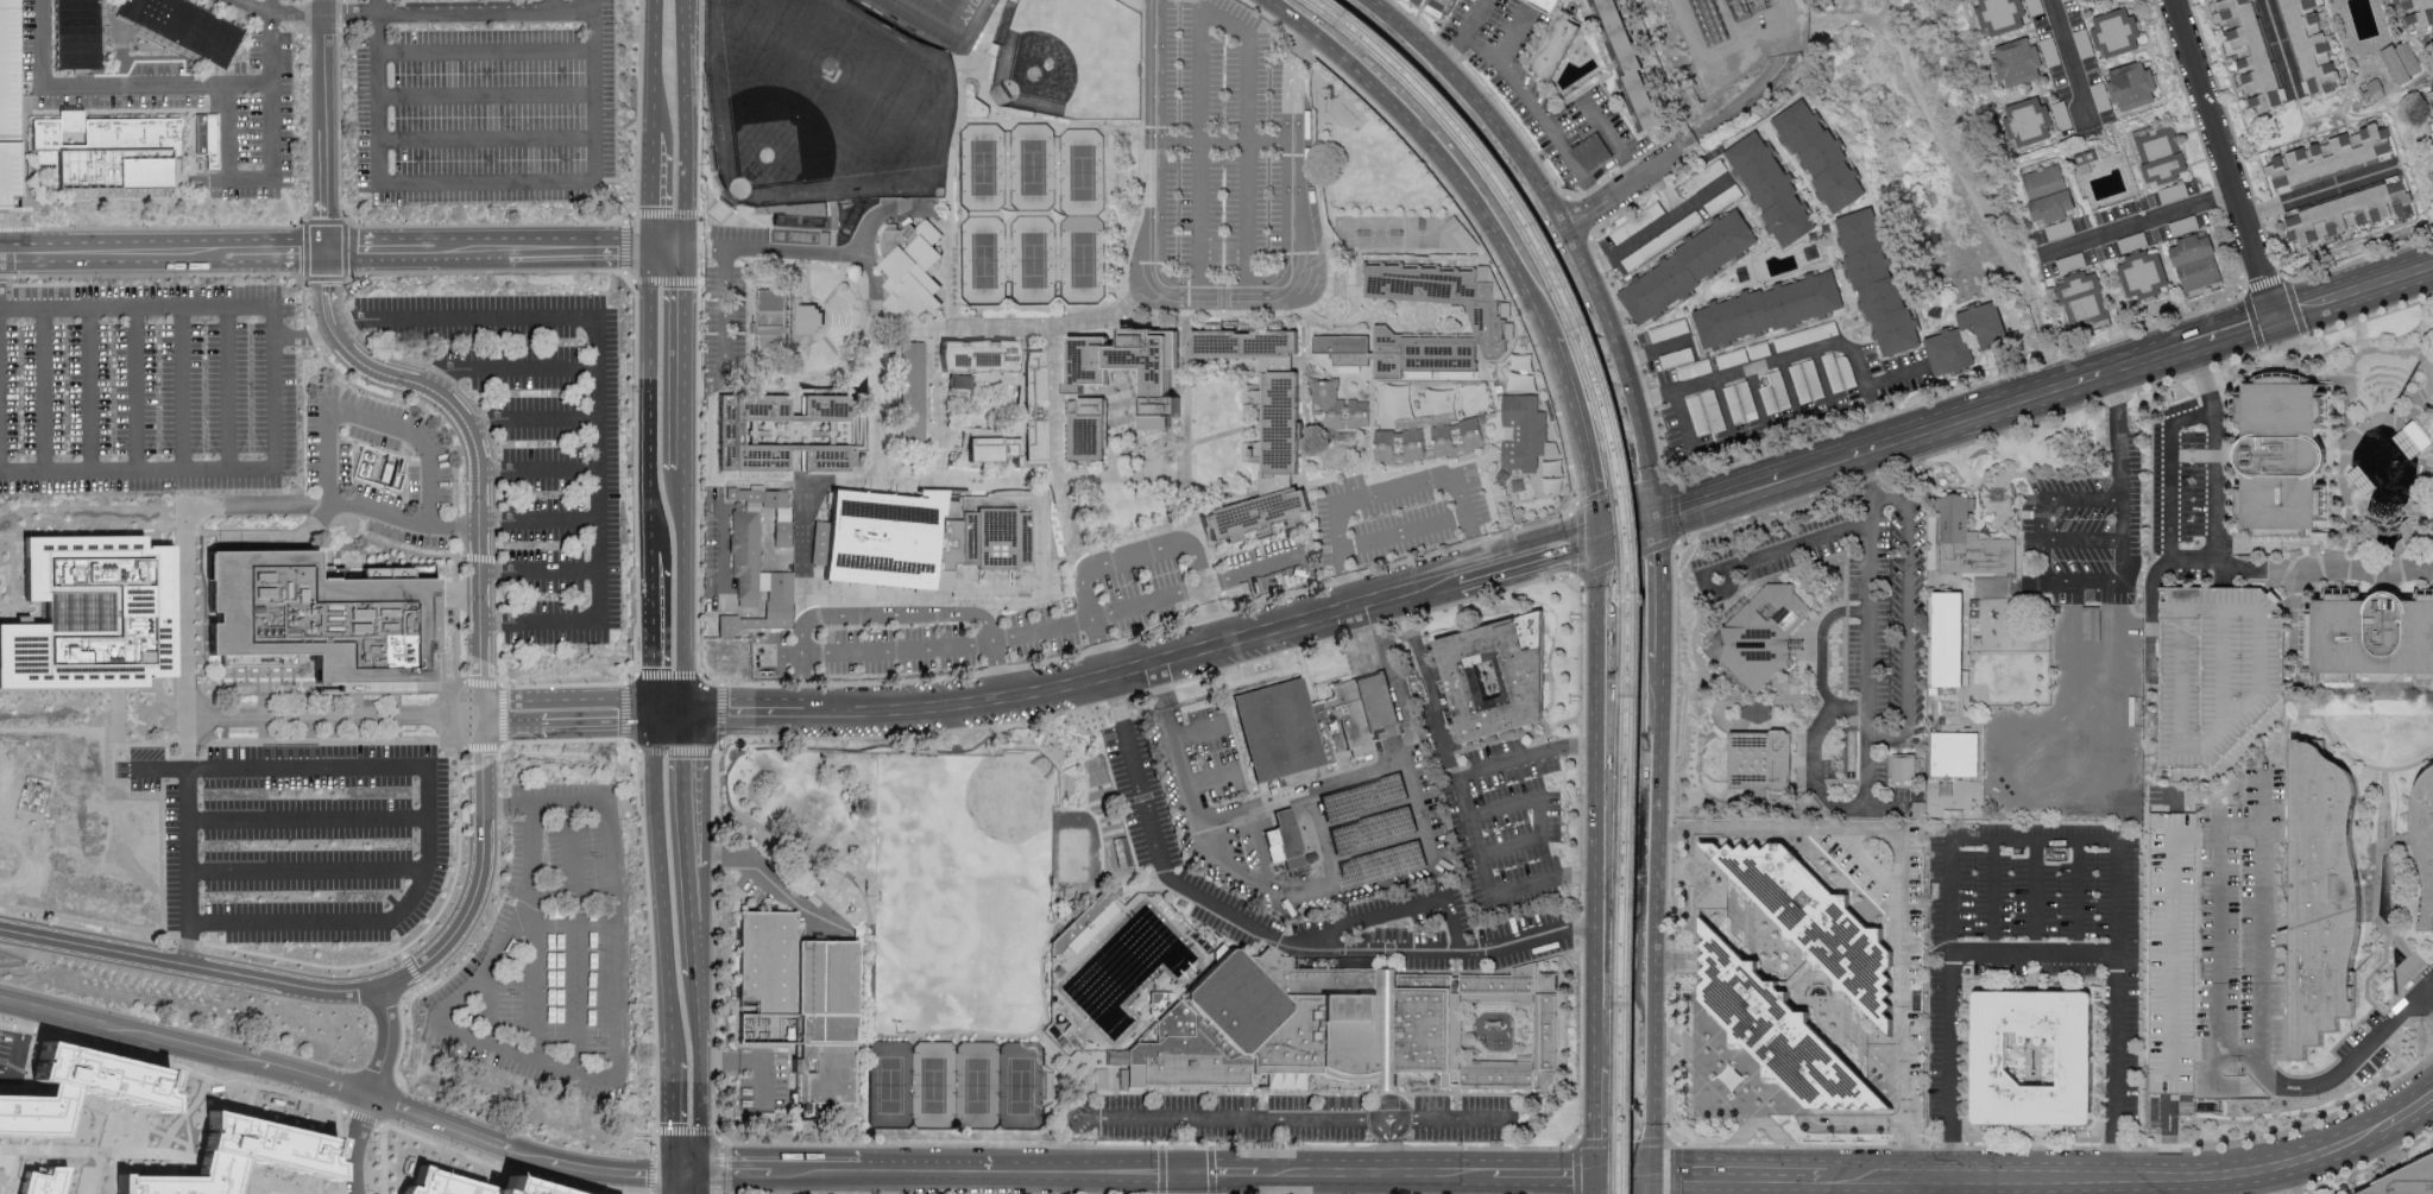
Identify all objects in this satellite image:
building: (1416, 0)
building: (1588, 0)
building: (2084, 0)
building: (2092, 1)
road: (550, 5)
road: (593, 5)
building: (1552, 5)
road: (272, 6)
road: (322, 6)
road: (377, 6)
building: (1441, 7)
road: (471, 11)
road: (572, 11)
road: (284, 12)
road: (349, 12)
road: (384, 12)
building: (2418, 13)
road: (1887, 14)
road: (341, 15)
park: (944, 15)
building: (2002, 18)
road: (377, 20)
road: (1477, 20)
building: (185, 25)
road: (309, 26)
building: (77, 33)
power substation: (1736, 36)
building: (2116, 36)
road: (1511, 42)
road: (43, 43)
building: (1557, 44)
building: (2311, 44)
road: (2281, 45)
road: (485, 51)
building: (2254, 52)
building: (1835, 53)
power substation: (1838, 53)
road: (2070, 61)
park: (1071, 62)
building: (1633, 63)
building: (2401, 65)
building: (2018, 67)
road: (655, 68)
park: (831, 76)
road: (159, 84)
building: (2132, 88)
road: (485, 94)
building: (2371, 94)
building: (2431, 95)
road: (2204, 96)
road: (1530, 99)
parking lot: (196, 100)
building: (6, 101)
parking lot: (6, 101)
parking lot: (486, 102)
road: (1475, 103)
road: (1738, 108)
road: (275, 119)
road: (687, 122)
building: (2027, 124)
road: (324, 129)
road: (227, 132)
building: (207, 135)
park: (777, 137)
road: (486, 138)
road: (1249, 139)
road: (1227, 143)
road: (1614, 144)
building: (109, 147)
parking lot: (1222, 149)
road: (1200, 152)
road: (1947, 152)
building: (1832, 157)
building: (2162, 159)
building: (2331, 159)
park: (1032, 168)
park: (983, 172)
park: (1082, 173)
road: (494, 182)
road: (1624, 189)
road: (654, 190)
building: (1775, 190)
road: (1669, 192)
building: (2049, 196)
road: (2318, 196)
road: (65, 197)
road: (358, 198)
building: (2347, 214)
road: (6, 221)
road: (345, 221)
road: (502, 222)
road: (2143, 222)
road: (251, 226)
road: (1499, 229)
road: (1656, 230)
building: (1463, 235)
road: (571, 246)
traffic signals: (653, 246)
road: (668, 246)
traffic signals: (683, 246)
road: (704, 246)
road: (406, 247)
road: (165, 248)
road: (2, 249)
road: (2254, 254)
park: (984, 263)
park: (1032, 263)
park: (1083, 263)
building: (2194, 264)
building: (1690, 267)
building: (914, 269)
building: (1880, 277)
building: (2143, 278)
road: (2353, 289)
road: (1215, 291)
parking lot: (731, 298)
building: (2081, 303)
building: (1775, 310)
traffic signals: (2275, 315)
building: (811, 317)
building: (1490, 322)
building: (776, 323)
road: (2233, 328)
road: (303, 336)
road: (725, 336)
building: (1962, 340)
road: (1654, 348)
building: (1243, 349)
road: (681, 355)
building: (977, 359)
road: (1791, 360)
road: (1622, 366)
road: (509, 368)
building: (1130, 371)
road: (1898, 374)
road: (2204, 375)
building: (959, 378)
road: (1824, 385)
parking lot: (146, 386)
road: (137, 387)
road: (183, 387)
road: (229, 387)
road: (275, 387)
road: (43, 388)
road: (89, 388)
building: (912, 396)
road: (1792, 396)
road: (595, 398)
road: (648, 400)
road: (2114, 400)
road: (634, 402)
road: (1759, 405)
road: (1993, 405)
building: (795, 409)
building: (1337, 409)
road: (349, 412)
building: (1032, 412)
road: (1726, 415)
road: (531, 421)
building: (1280, 428)
road: (1683, 428)
building: (730, 432)
building: (1526, 432)
building: (1086, 435)
building: (2419, 435)
building: (1456, 440)
road: (473, 441)
parking lot: (537, 443)
building: (2408, 443)
building: (1399, 448)
building: (987, 454)
building: (2287, 457)
building: (798, 461)
parking lot: (330, 467)
road: (536, 473)
parking lot: (2192, 479)
building: (2363, 480)
road: (874, 485)
road: (1879, 486)
road: (2120, 487)
road: (1391, 492)
road: (1722, 492)
road: (2081, 499)
traffic signals: (1653, 517)
building: (1253, 518)
parking lot: (1395, 518)
road: (2042, 519)
road: (537, 522)
road: (1627, 526)
road: (1401, 529)
road: (720, 530)
building: (783, 531)
traffic signals: (1601, 536)
road: (289, 538)
parking lot: (2080, 541)
road: (2082, 541)
building: (1968, 542)
building: (943, 543)
railway: (1626, 544)
railway: (1634, 547)
building: (748, 555)
road: (1104, 557)
parking lot: (1142, 557)
road: (1528, 557)
road: (2042, 561)
road: (2176, 561)
road: (1713, 568)
road: (2248, 569)
road: (1249, 570)
road: (2357, 570)
road: (538, 573)
parking lot: (1261, 575)
building: (781, 580)
road: (2101, 581)
road: (682, 587)
road: (12, 593)
road: (1657, 598)
parking lot: (1858, 605)
road: (1868, 606)
road: (1101, 615)
building: (97, 617)
building: (323, 618)
building: (2092, 623)
road: (651, 632)
road: (1908, 632)
building: (1764, 633)
road: (456, 637)
building: (2377, 637)
building: (1947, 639)
road: (1360, 643)
parking lot: (859, 644)
road: (891, 646)
road: (1822, 647)
road: (801, 664)
road: (185, 668)
road: (1133, 668)
building: (1509, 670)
building: (2221, 671)
parking garage: (2221, 671)
road: (527, 709)
road: (612, 709)
traffic signals: (653, 709)
road: (667, 709)
traffic signals: (682, 709)
road: (742, 709)
road: (1404, 709)
road: (333, 710)
building: (1307, 725)
road: (1034, 727)
road: (1197, 731)
road: (1104, 751)
building: (1956, 753)
road: (1528, 758)
road: (1814, 758)
road: (480, 759)
building: (1766, 759)
road: (1397, 767)
building: (1905, 767)
road: (1210, 778)
road: (682, 788)
parking lot: (1142, 796)
road: (1462, 798)
road: (1602, 800)
parking lot: (1495, 802)
road: (2267, 802)
road: (430, 804)
road: (1539, 810)
road: (1368, 813)
park: (988, 816)
road: (309, 820)
parking lot: (1304, 820)
building: (1284, 839)
road: (1324, 839)
parking lot: (300, 841)
road: (2034, 841)
building: (2426, 844)
road: (1378, 847)
park: (943, 859)
road: (307, 873)
road: (1133, 877)
road: (658, 885)
road: (1898, 886)
road: (2267, 889)
park: (1066, 891)
road: (1992, 898)
road: (2036, 899)
road: (2076, 899)
building: (2325, 903)
road: (1395, 911)
building: (261, 914)
road: (464, 915)
road: (691, 918)
building: (1084, 920)
building: (1824, 920)
road: (1654, 929)
road: (532, 933)
road: (1274, 934)
road: (574, 940)
parking lot: (2036, 940)
parking lot: (2230, 940)
parking lot: (553, 952)
road: (2032, 956)
road: (23, 959)
road: (190, 965)
road: (872, 986)
road: (2426, 990)
building: (800, 1009)
road: (618, 1021)
parking lot: (0, 1028)
building: (1351, 1030)
building: (1785, 1030)
road: (188, 1038)
road: (386, 1040)
building: (2072, 1054)
road: (178, 1059)
road: (751, 1061)
road: (700, 1069)
road: (14, 1081)
building: (82, 1082)
park: (957, 1082)
road: (50, 1088)
road: (2169, 1113)
road: (366, 1114)
parking lot: (1293, 1114)
road: (670, 1116)
road: (135, 1119)
road: (1596, 1119)
road: (1240, 1120)
road: (1451, 1123)
road: (718, 1129)
road: (656, 1137)
road: (1596, 1141)
road: (358, 1142)
road: (97, 1146)
road: (527, 1146)
building: (227, 1155)
road: (386, 1158)
road: (214, 1160)
road: (509, 1164)
traffic signals: (687, 1168)
road: (1141, 1169)
road: (93, 1170)
road: (657, 1170)
traffic signals: (1174, 1170)
traffic signals: (1195, 1170)
traffic signals: (1596, 1176)
road: (1622, 1177)
traffic signals: (1650, 1179)
road: (273, 1181)
road: (687, 1181)
building: (37, 1182)
building: (471, 1182)
road: (1174, 1182)
road: (1193, 1182)
road: (1369, 1183)
building: (2412, 1183)
road: (1596, 1184)
road: (260, 1186)
road: (1649, 1186)
road: (2050, 1186)
road: (1826, 1188)
road: (2066, 1190)
road: (2150, 1190)
road: (88, 1193)

